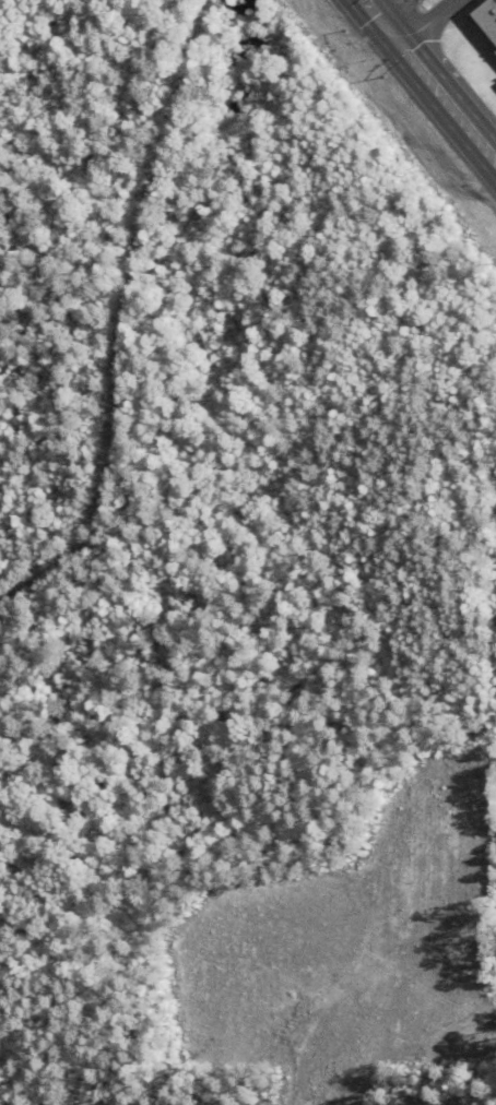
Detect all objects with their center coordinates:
road: (401, 15)
building: (486, 19)
road: (423, 22)
traffic signals: (390, 34)
road: (428, 81)

